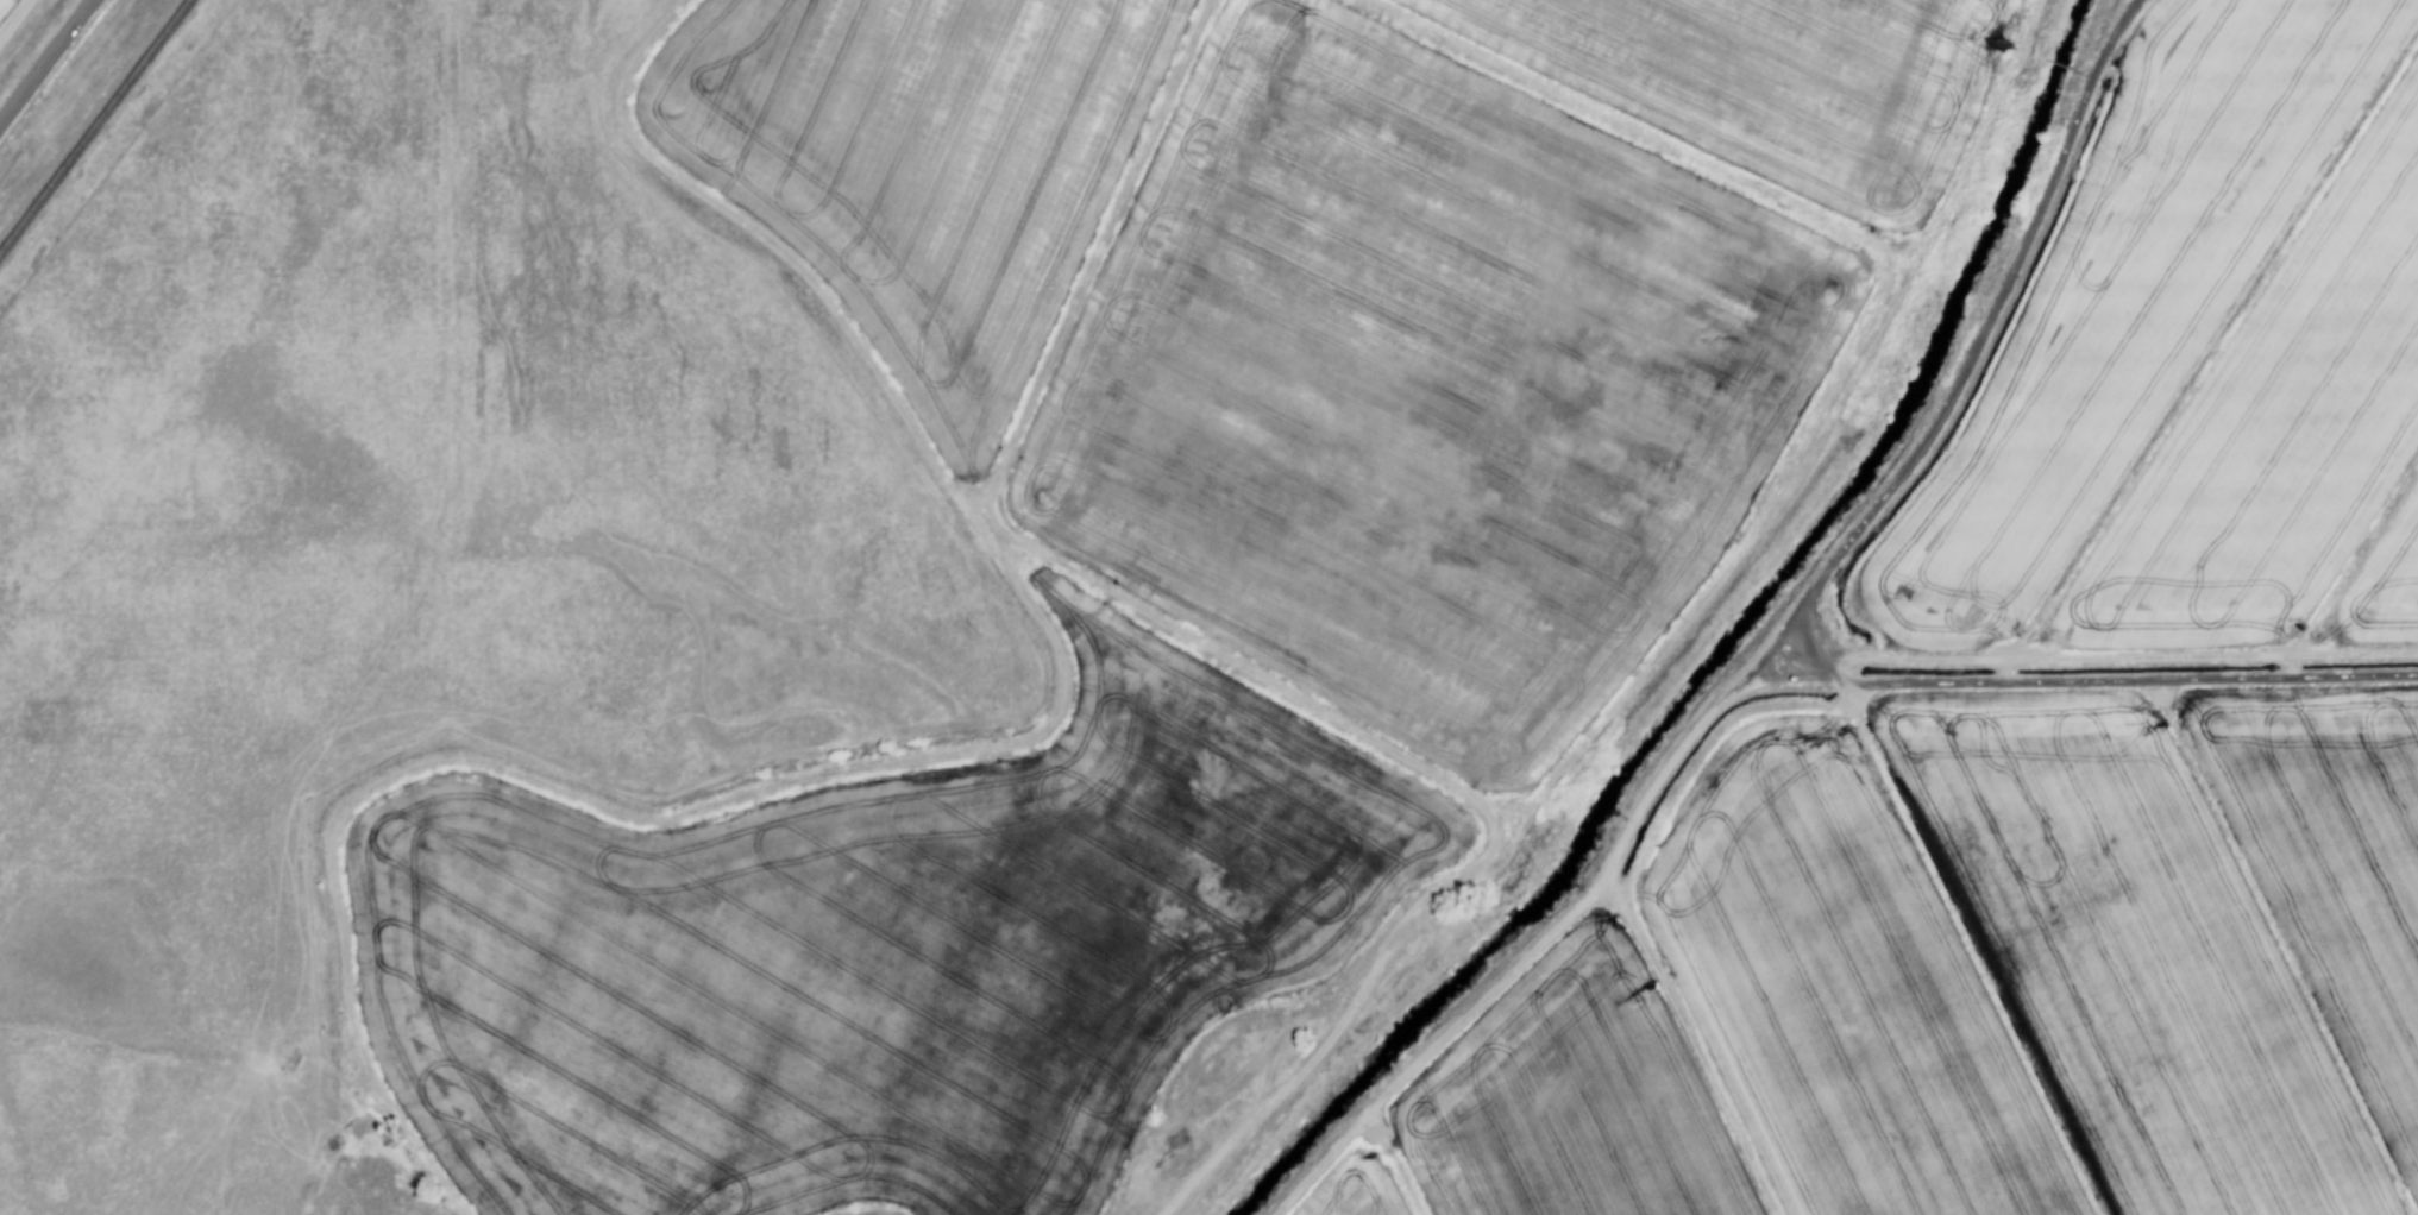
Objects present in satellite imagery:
road: (48, 64)
railway: (94, 126)
road: (1766, 655)

